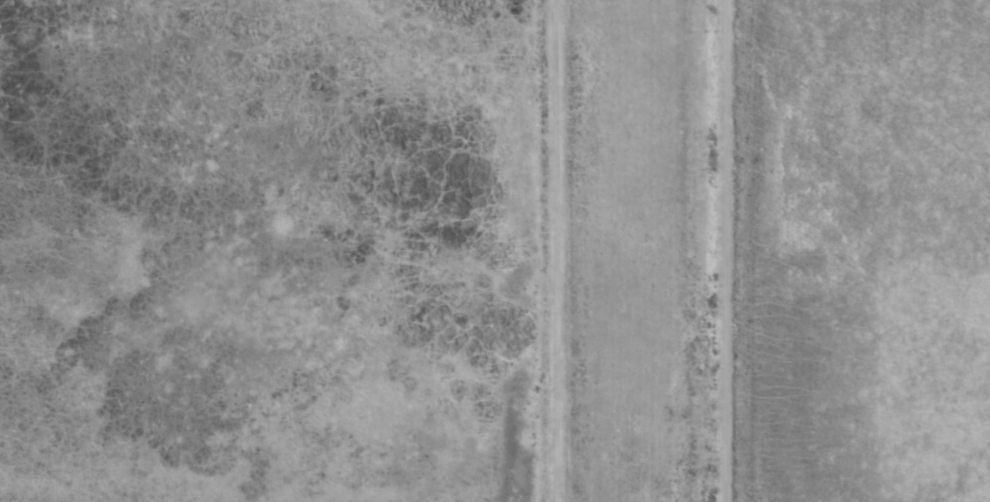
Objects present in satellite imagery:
crop: (495, 251)
road: (586, 251)

